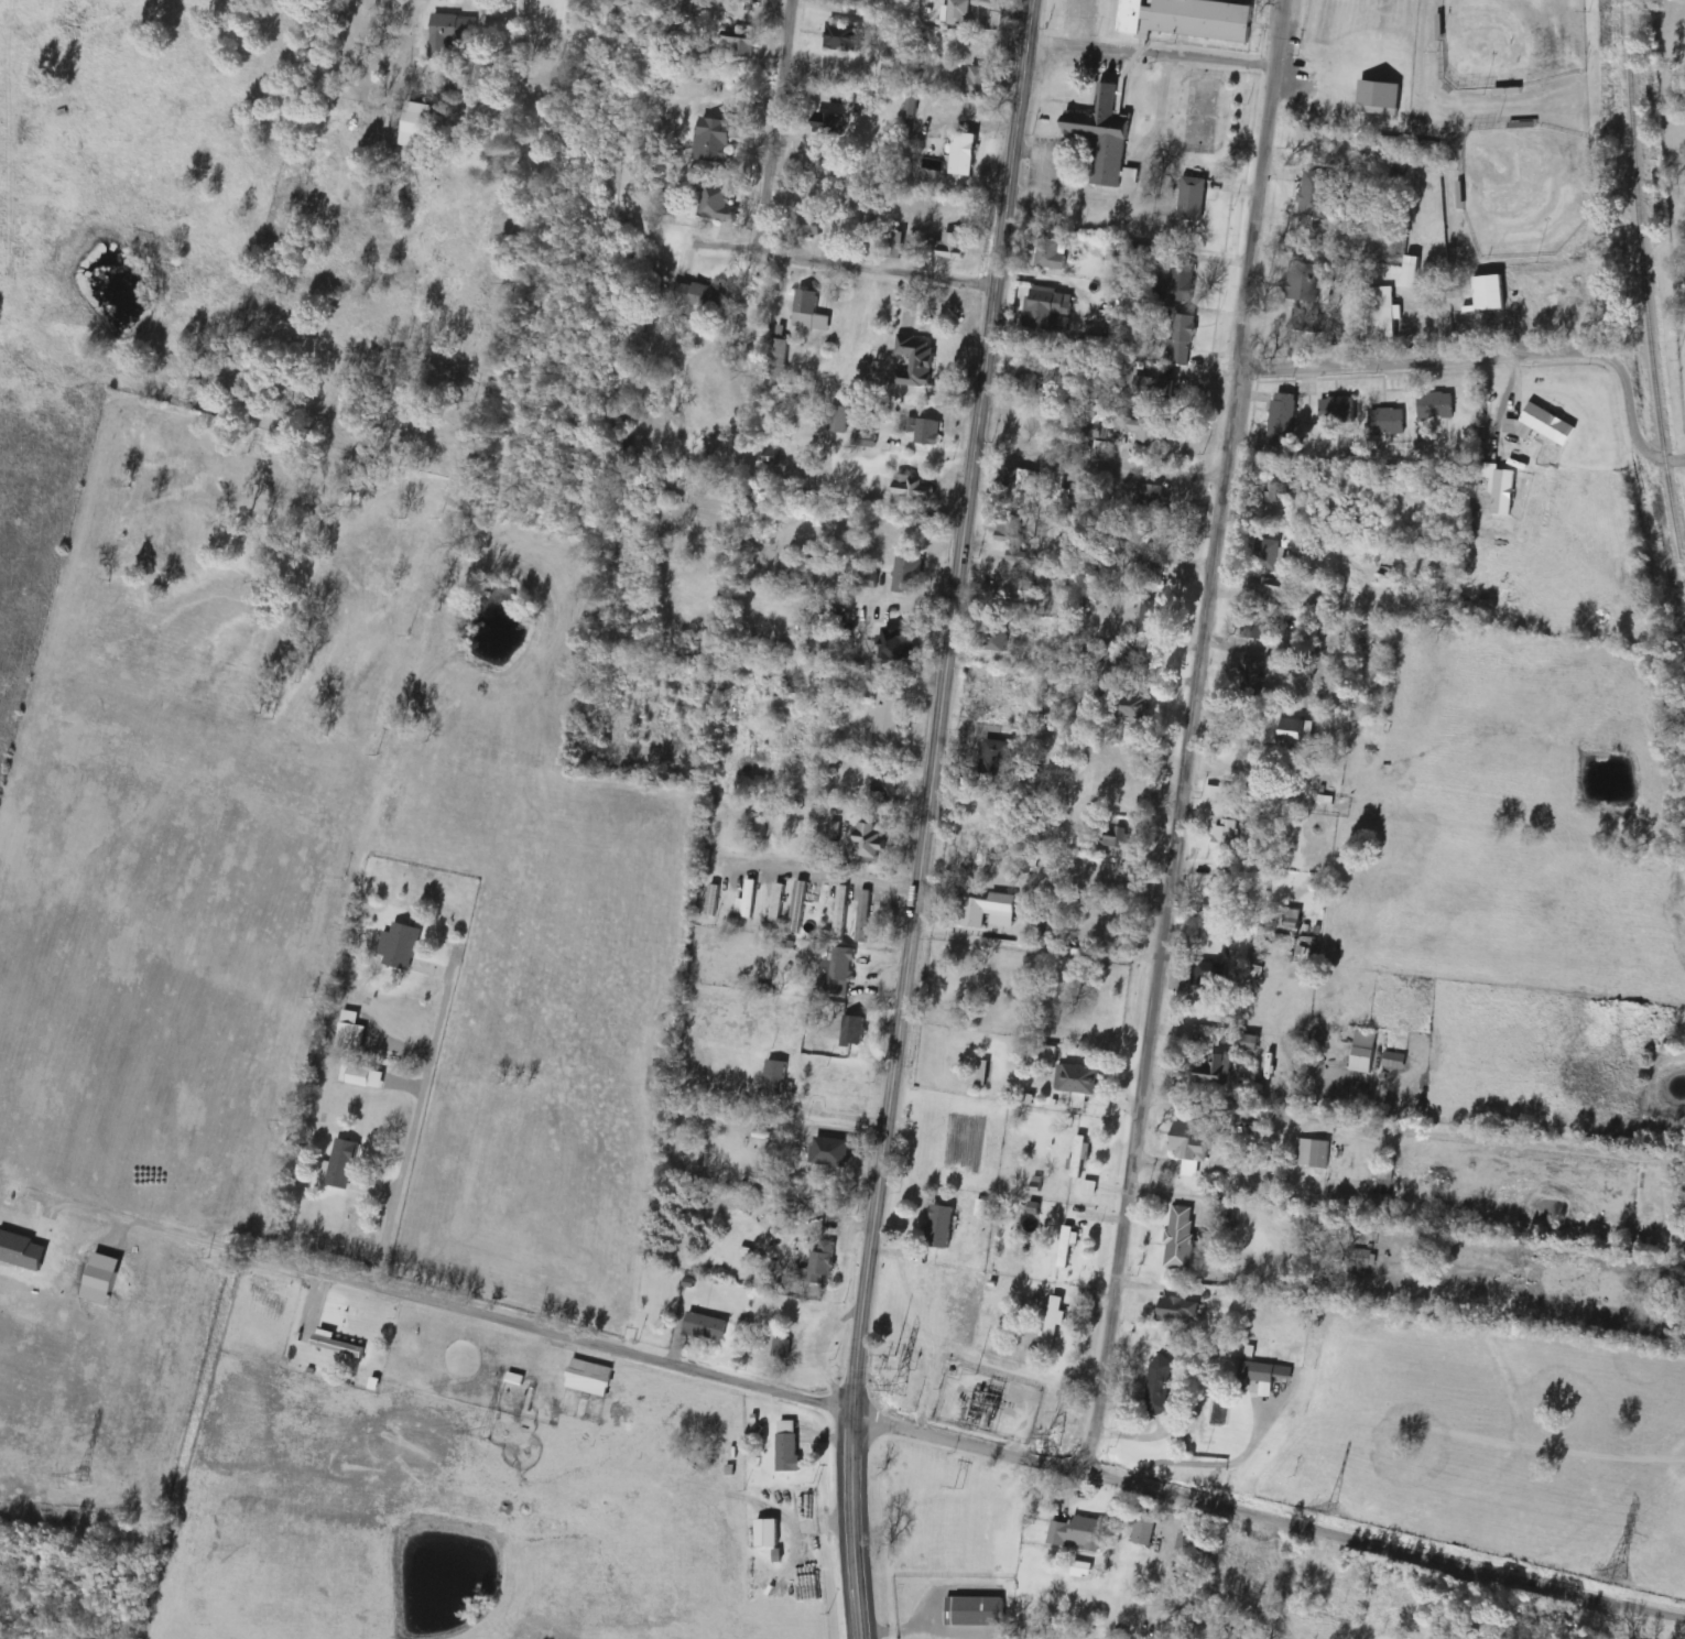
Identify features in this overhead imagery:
building: (989, 3)
road: (413, 8)
building: (956, 12)
building: (1186, 19)
building: (876, 22)
building: (449, 33)
building: (843, 35)
building: (742, 42)
building: (975, 46)
road: (1151, 51)
building: (977, 80)
building: (827, 122)
road: (772, 123)
building: (417, 124)
building: (1102, 134)
building: (715, 139)
building: (1323, 146)
building: (963, 153)
building: (1313, 194)
building: (1192, 198)
building: (717, 203)
building: (809, 226)
building: (894, 243)
building: (953, 245)
building: (1051, 256)
building: (1116, 256)
road: (843, 263)
building: (1411, 272)
building: (1305, 281)
building: (1177, 283)
building: (1490, 292)
railway: (1644, 296)
building: (700, 297)
building: (1047, 308)
building: (808, 311)
building: (1381, 313)
building: (1303, 317)
building: (1182, 339)
road: (1482, 358)
building: (776, 360)
building: (915, 360)
building: (1028, 383)
building: (1152, 388)
building: (1435, 404)
building: (1337, 410)
building: (1283, 415)
building: (837, 419)
building: (1385, 421)
building: (1548, 423)
building: (1021, 425)
building: (1510, 425)
building: (924, 430)
building: (1146, 433)
road: (1674, 460)
road: (1096, 464)
building: (1015, 478)
building: (913, 490)
building: (1280, 491)
building: (1503, 491)
building: (1061, 493)
building: (1149, 495)
building: (1014, 538)
building: (1274, 549)
building: (1153, 565)
building: (907, 574)
building: (1267, 585)
building: (1149, 617)
building: (1257, 626)
building: (896, 645)
building: (1127, 662)
building: (1132, 706)
building: (888, 717)
building: (1293, 731)
road: (1185, 735)
building: (990, 763)
road: (928, 780)
building: (883, 784)
building: (1225, 834)
building: (1118, 835)
building: (870, 842)
road: (820, 871)
building: (711, 899)
building: (747, 899)
building: (776, 901)
building: (796, 905)
building: (1002, 908)
building: (840, 911)
building: (974, 911)
building: (862, 915)
building: (399, 944)
building: (838, 969)
building: (1207, 976)
building: (348, 1029)
building: (852, 1033)
building: (1247, 1042)
building: (1363, 1052)
building: (1041, 1054)
building: (1393, 1060)
building: (1215, 1070)
building: (365, 1076)
building: (655, 1078)
building: (774, 1078)
building: (1079, 1079)
road: (415, 1111)
road: (833, 1115)
road: (1412, 1126)
building: (1191, 1138)
building: (829, 1152)
building: (1311, 1153)
building: (1078, 1157)
building: (341, 1163)
building: (933, 1227)
building: (1179, 1238)
road: (214, 1241)
building: (1067, 1245)
building: (1366, 1258)
building: (820, 1264)
building: (1178, 1311)
building: (1055, 1318)
building: (705, 1327)
road: (595, 1343)
building: (780, 1349)
building: (1265, 1372)
building: (589, 1377)
building: (1159, 1386)
power substation: (987, 1404)
power tower: (987, 1404)
power tower: (481, 1434)
building: (787, 1446)
road: (1214, 1464)
power tower: (84, 1477)
power tower: (1329, 1509)
road: (1249, 1513)
building: (1143, 1530)
building: (768, 1533)
building: (1078, 1533)
building: (1184, 1545)
power tower: (1621, 1575)
road: (859, 1600)
building: (975, 1611)

